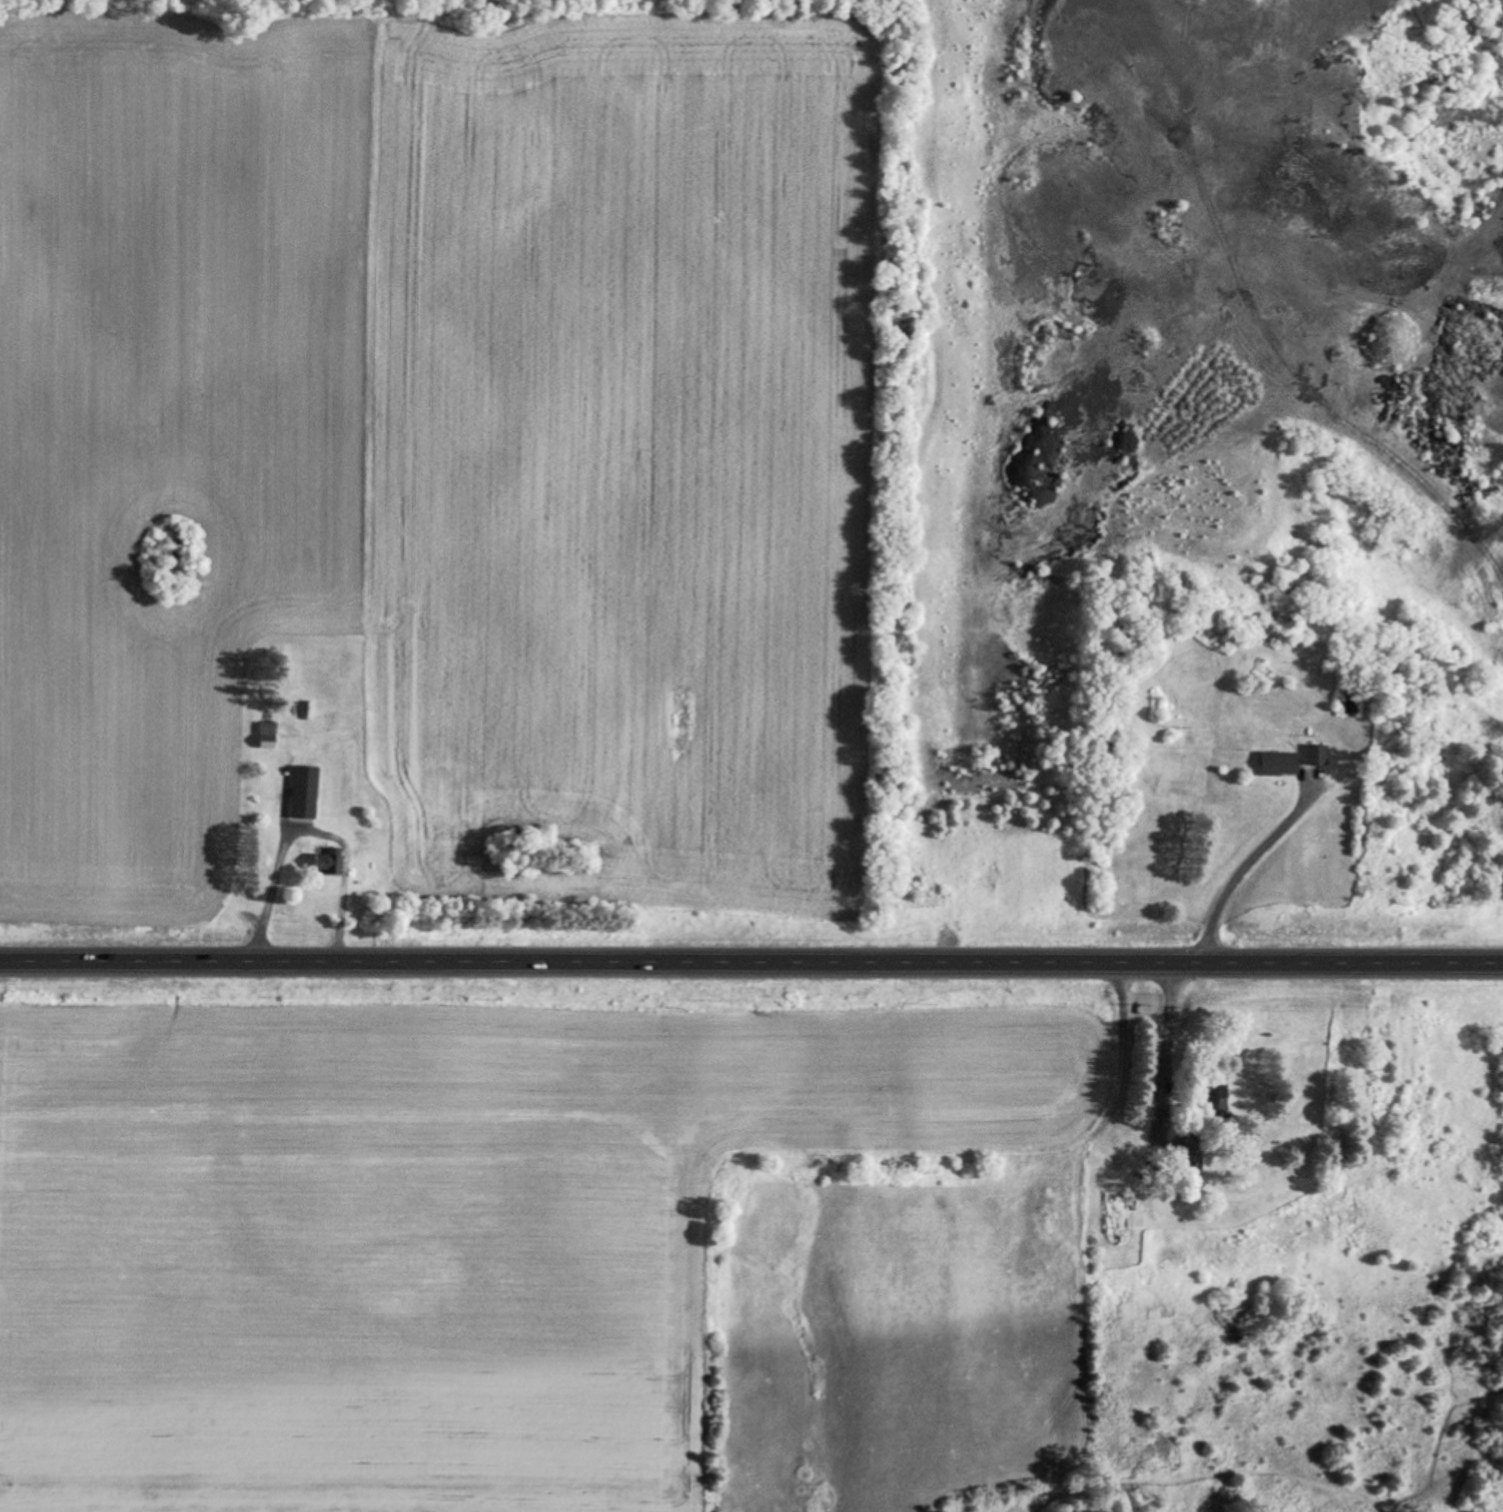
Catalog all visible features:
quarry: (411, 5)
quarry: (1203, 413)
crop: (467, 464)
building: (1353, 700)
building: (268, 736)
building: (1318, 755)
building: (1281, 764)
building: (306, 793)
building: (328, 864)
road: (751, 988)
building: (1218, 1093)
building: (1194, 1157)

